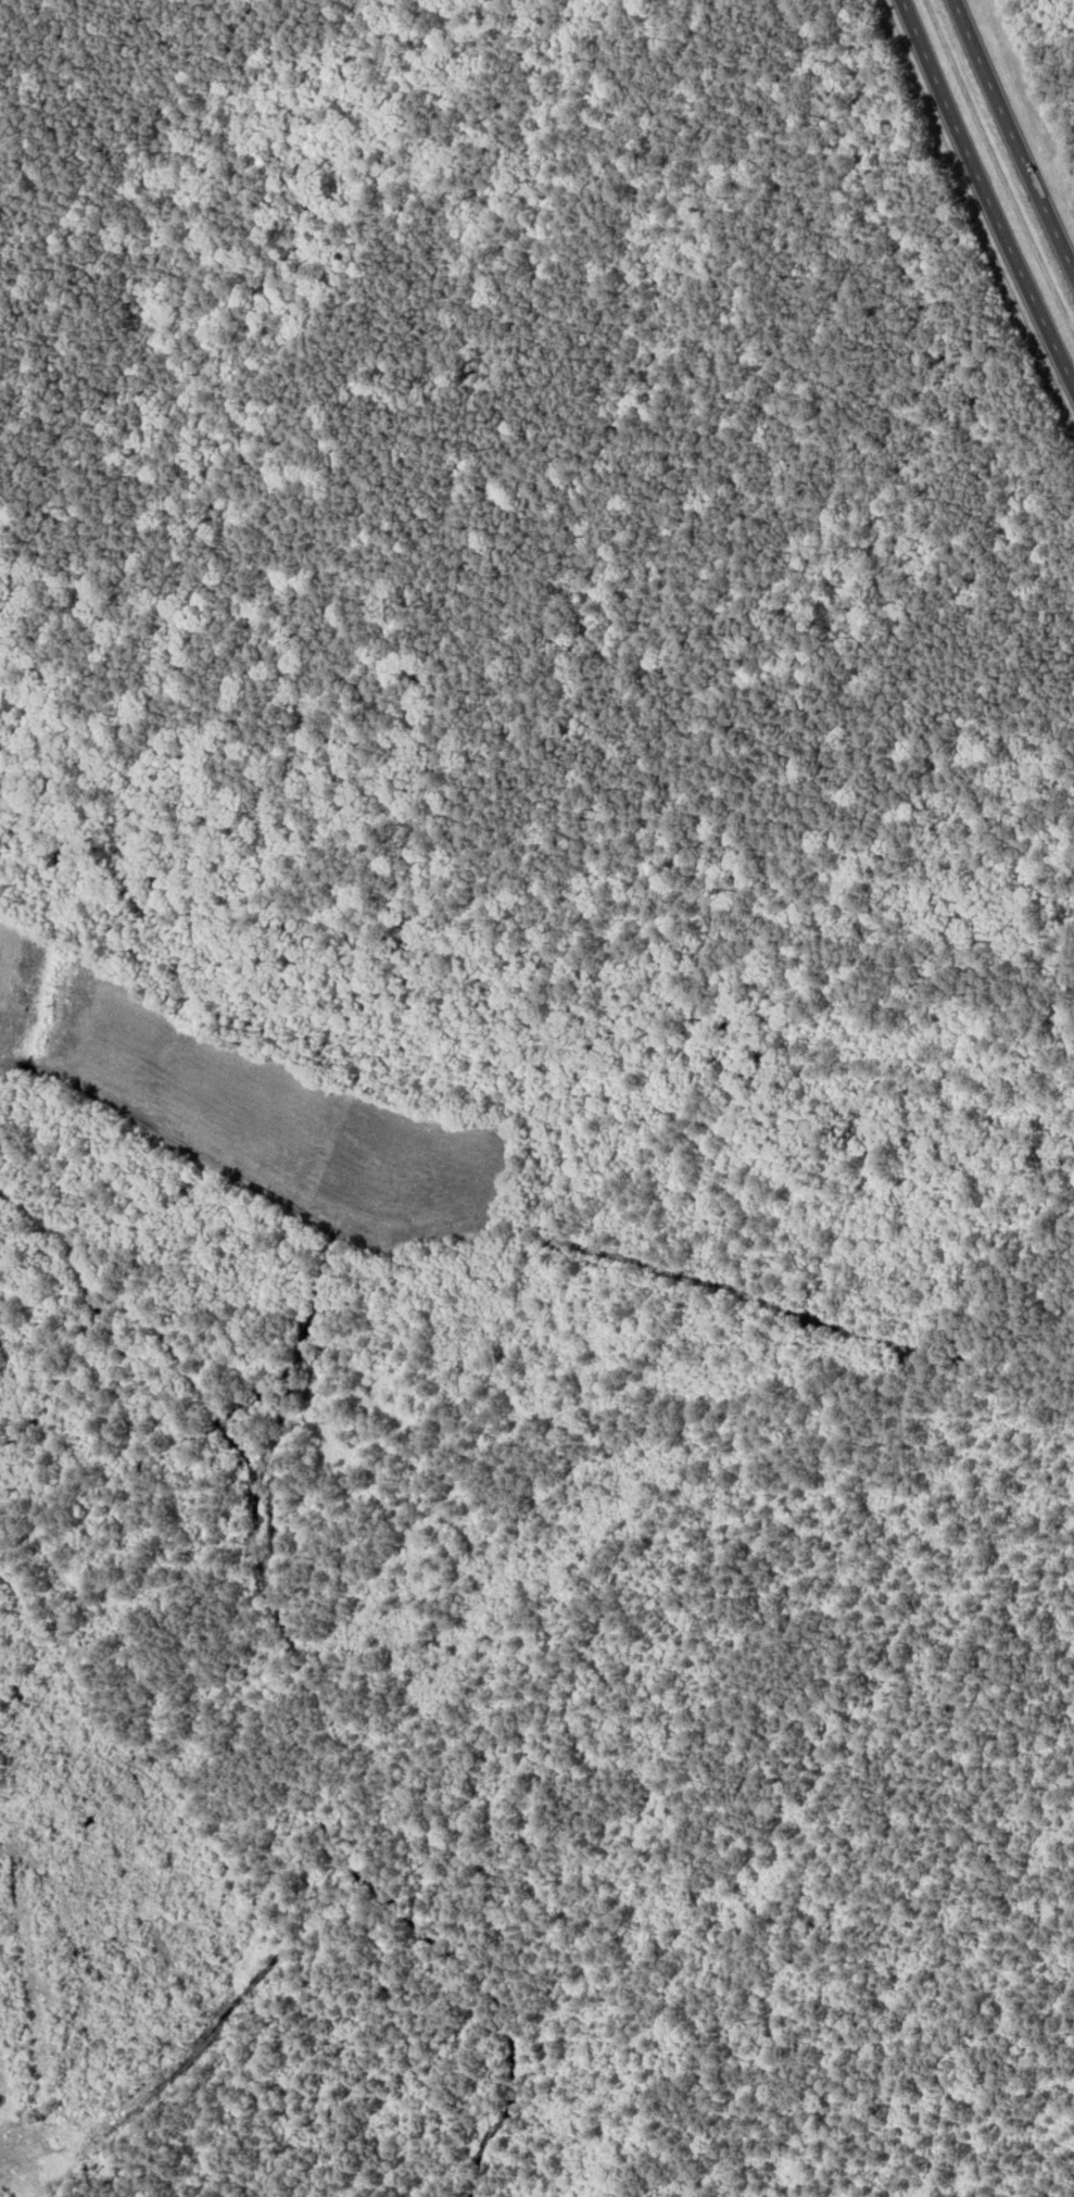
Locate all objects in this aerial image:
road: (1010, 138)
road: (984, 191)

